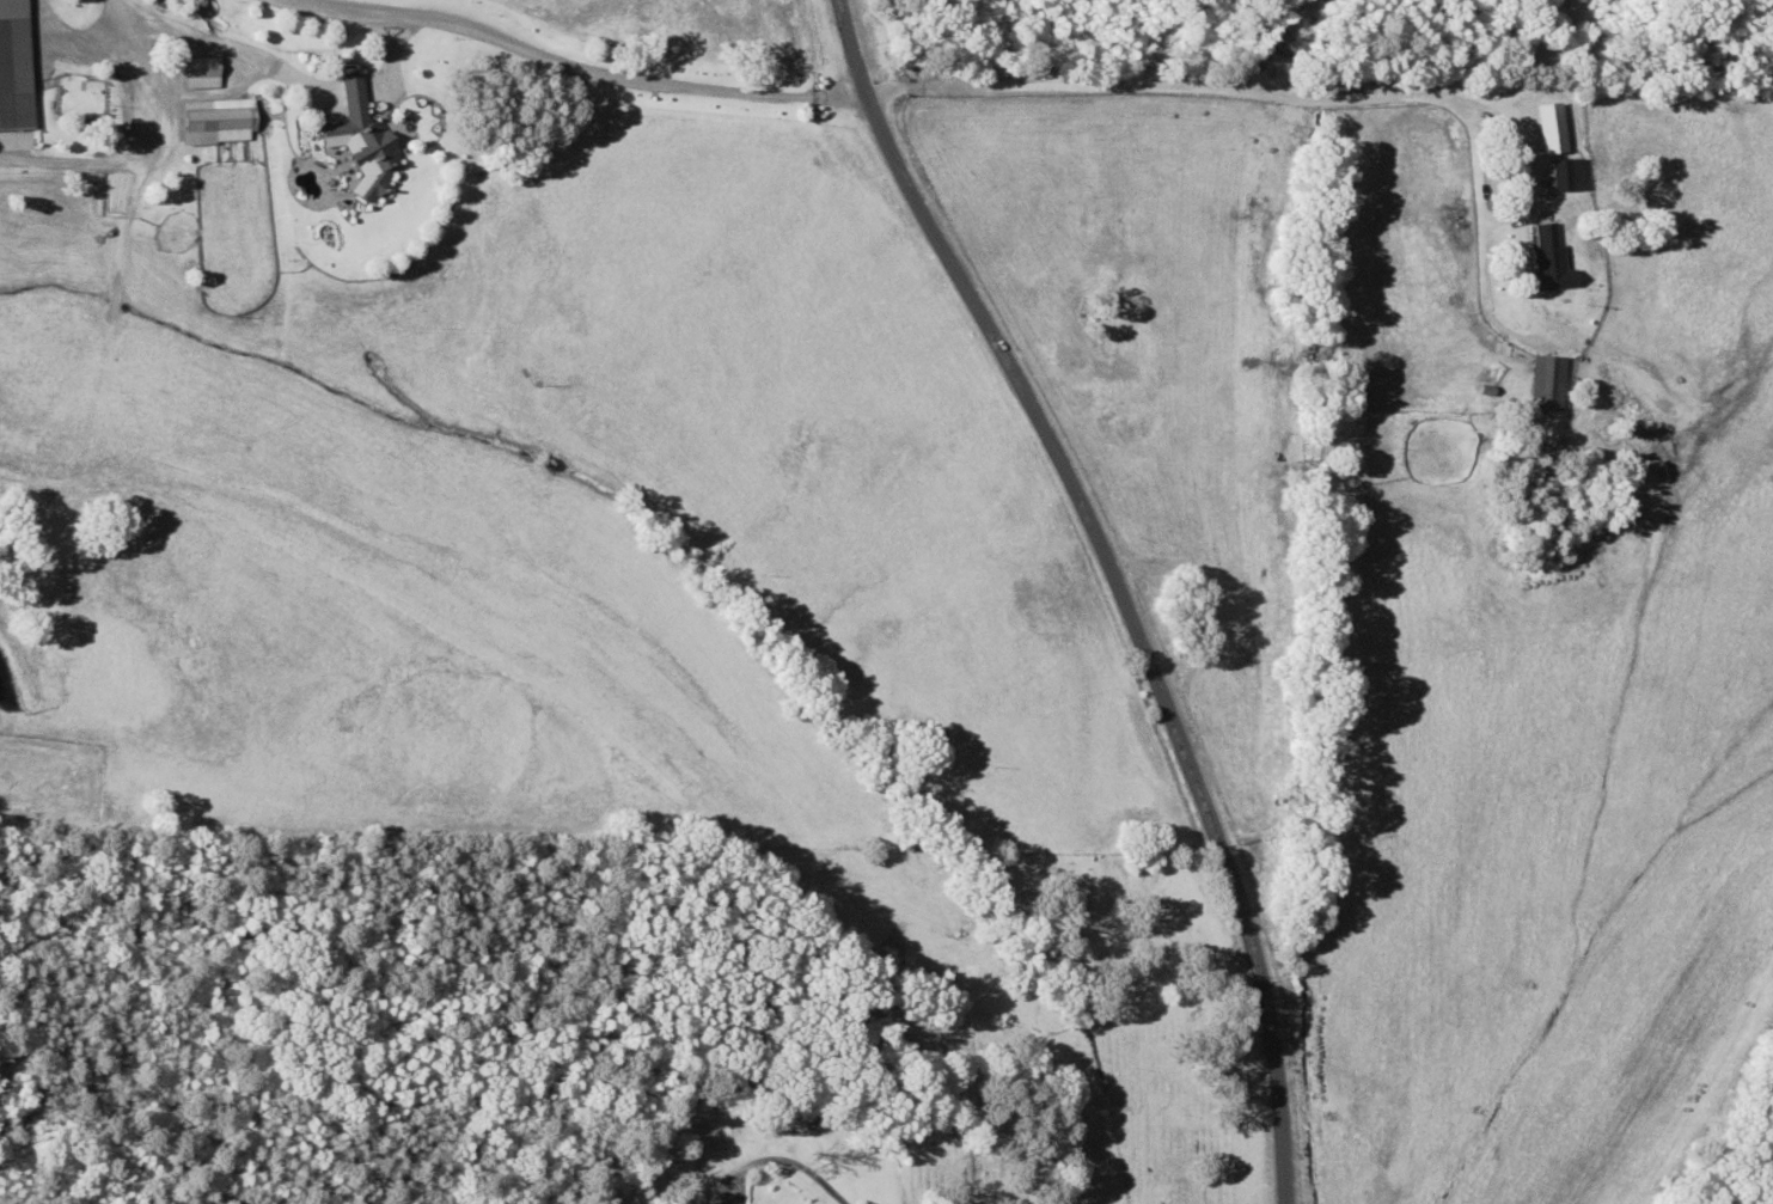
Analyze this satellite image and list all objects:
building: (10, 67)
building: (196, 72)
road: (1303, 96)
building: (213, 121)
building: (354, 141)
building: (1557, 175)
building: (1543, 258)
building: (1543, 383)
road: (1114, 582)

